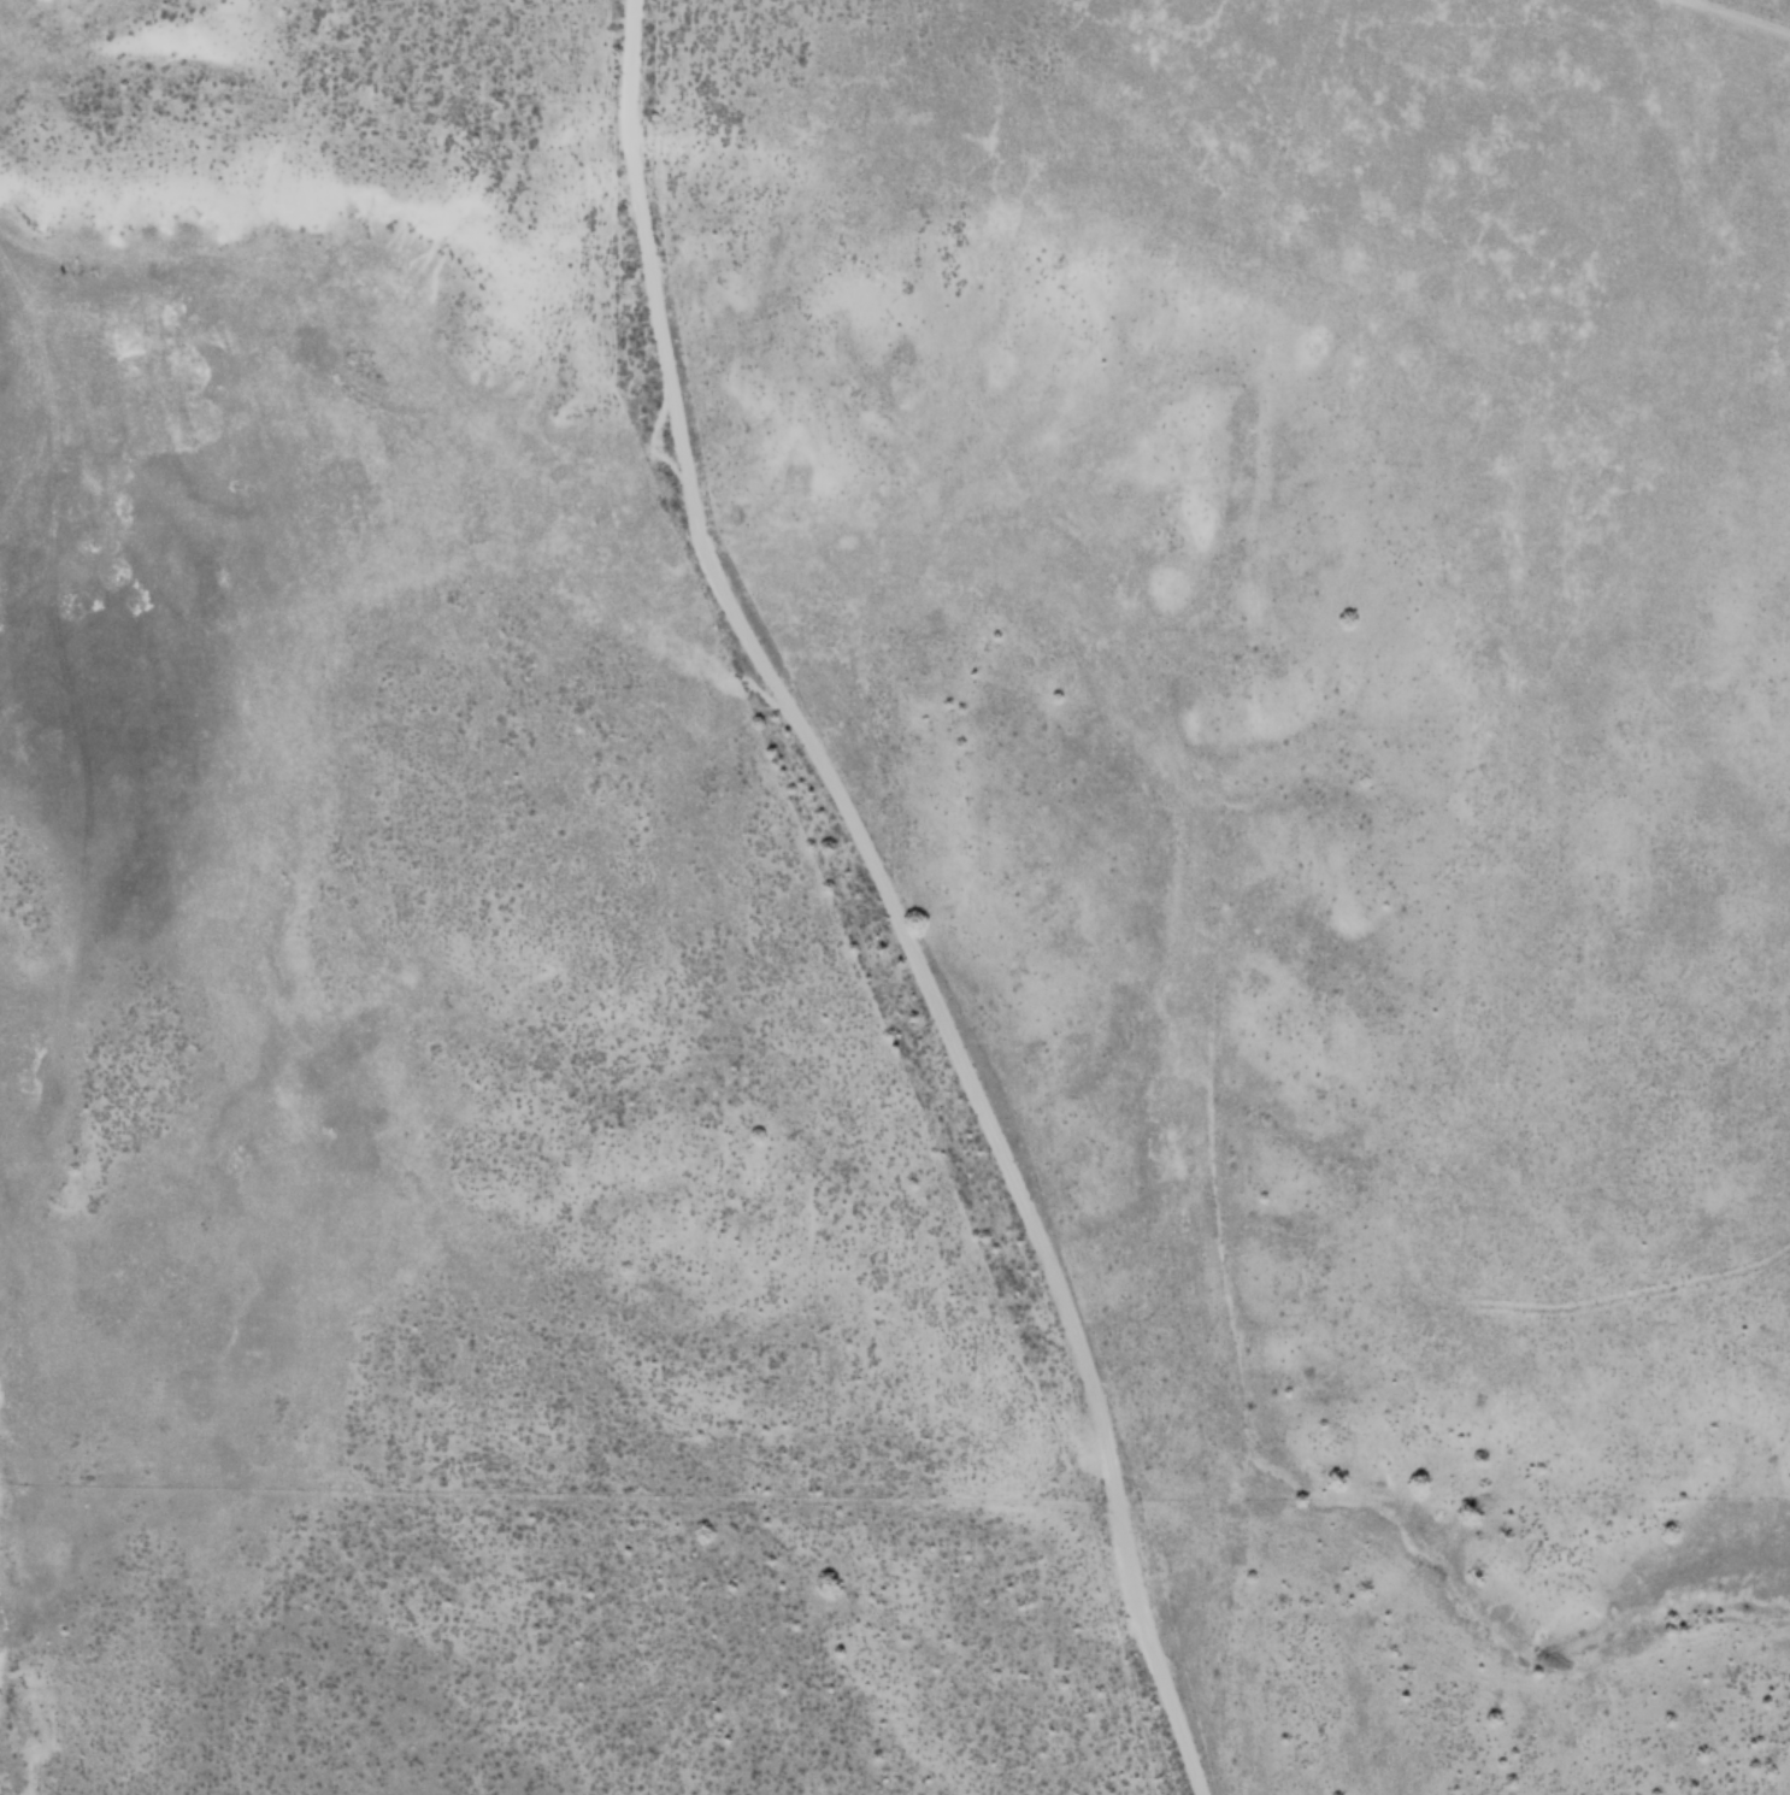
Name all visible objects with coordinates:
road: (1753, 13)
road: (884, 899)

